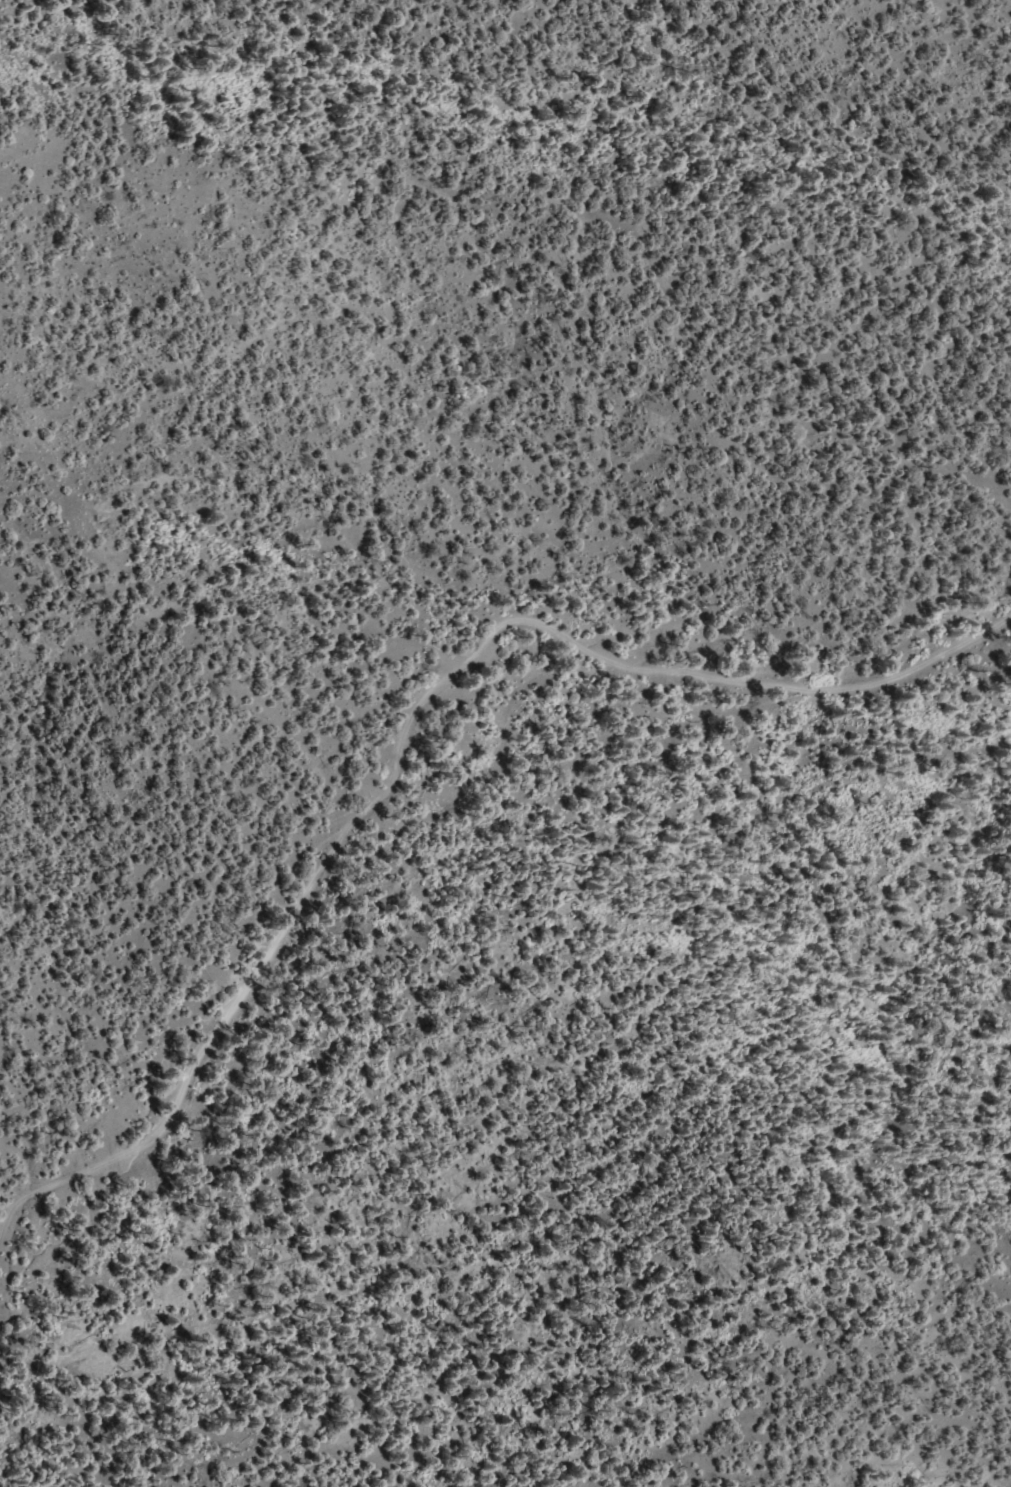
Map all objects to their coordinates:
road: (31, 211)
road: (409, 402)
road: (406, 725)

